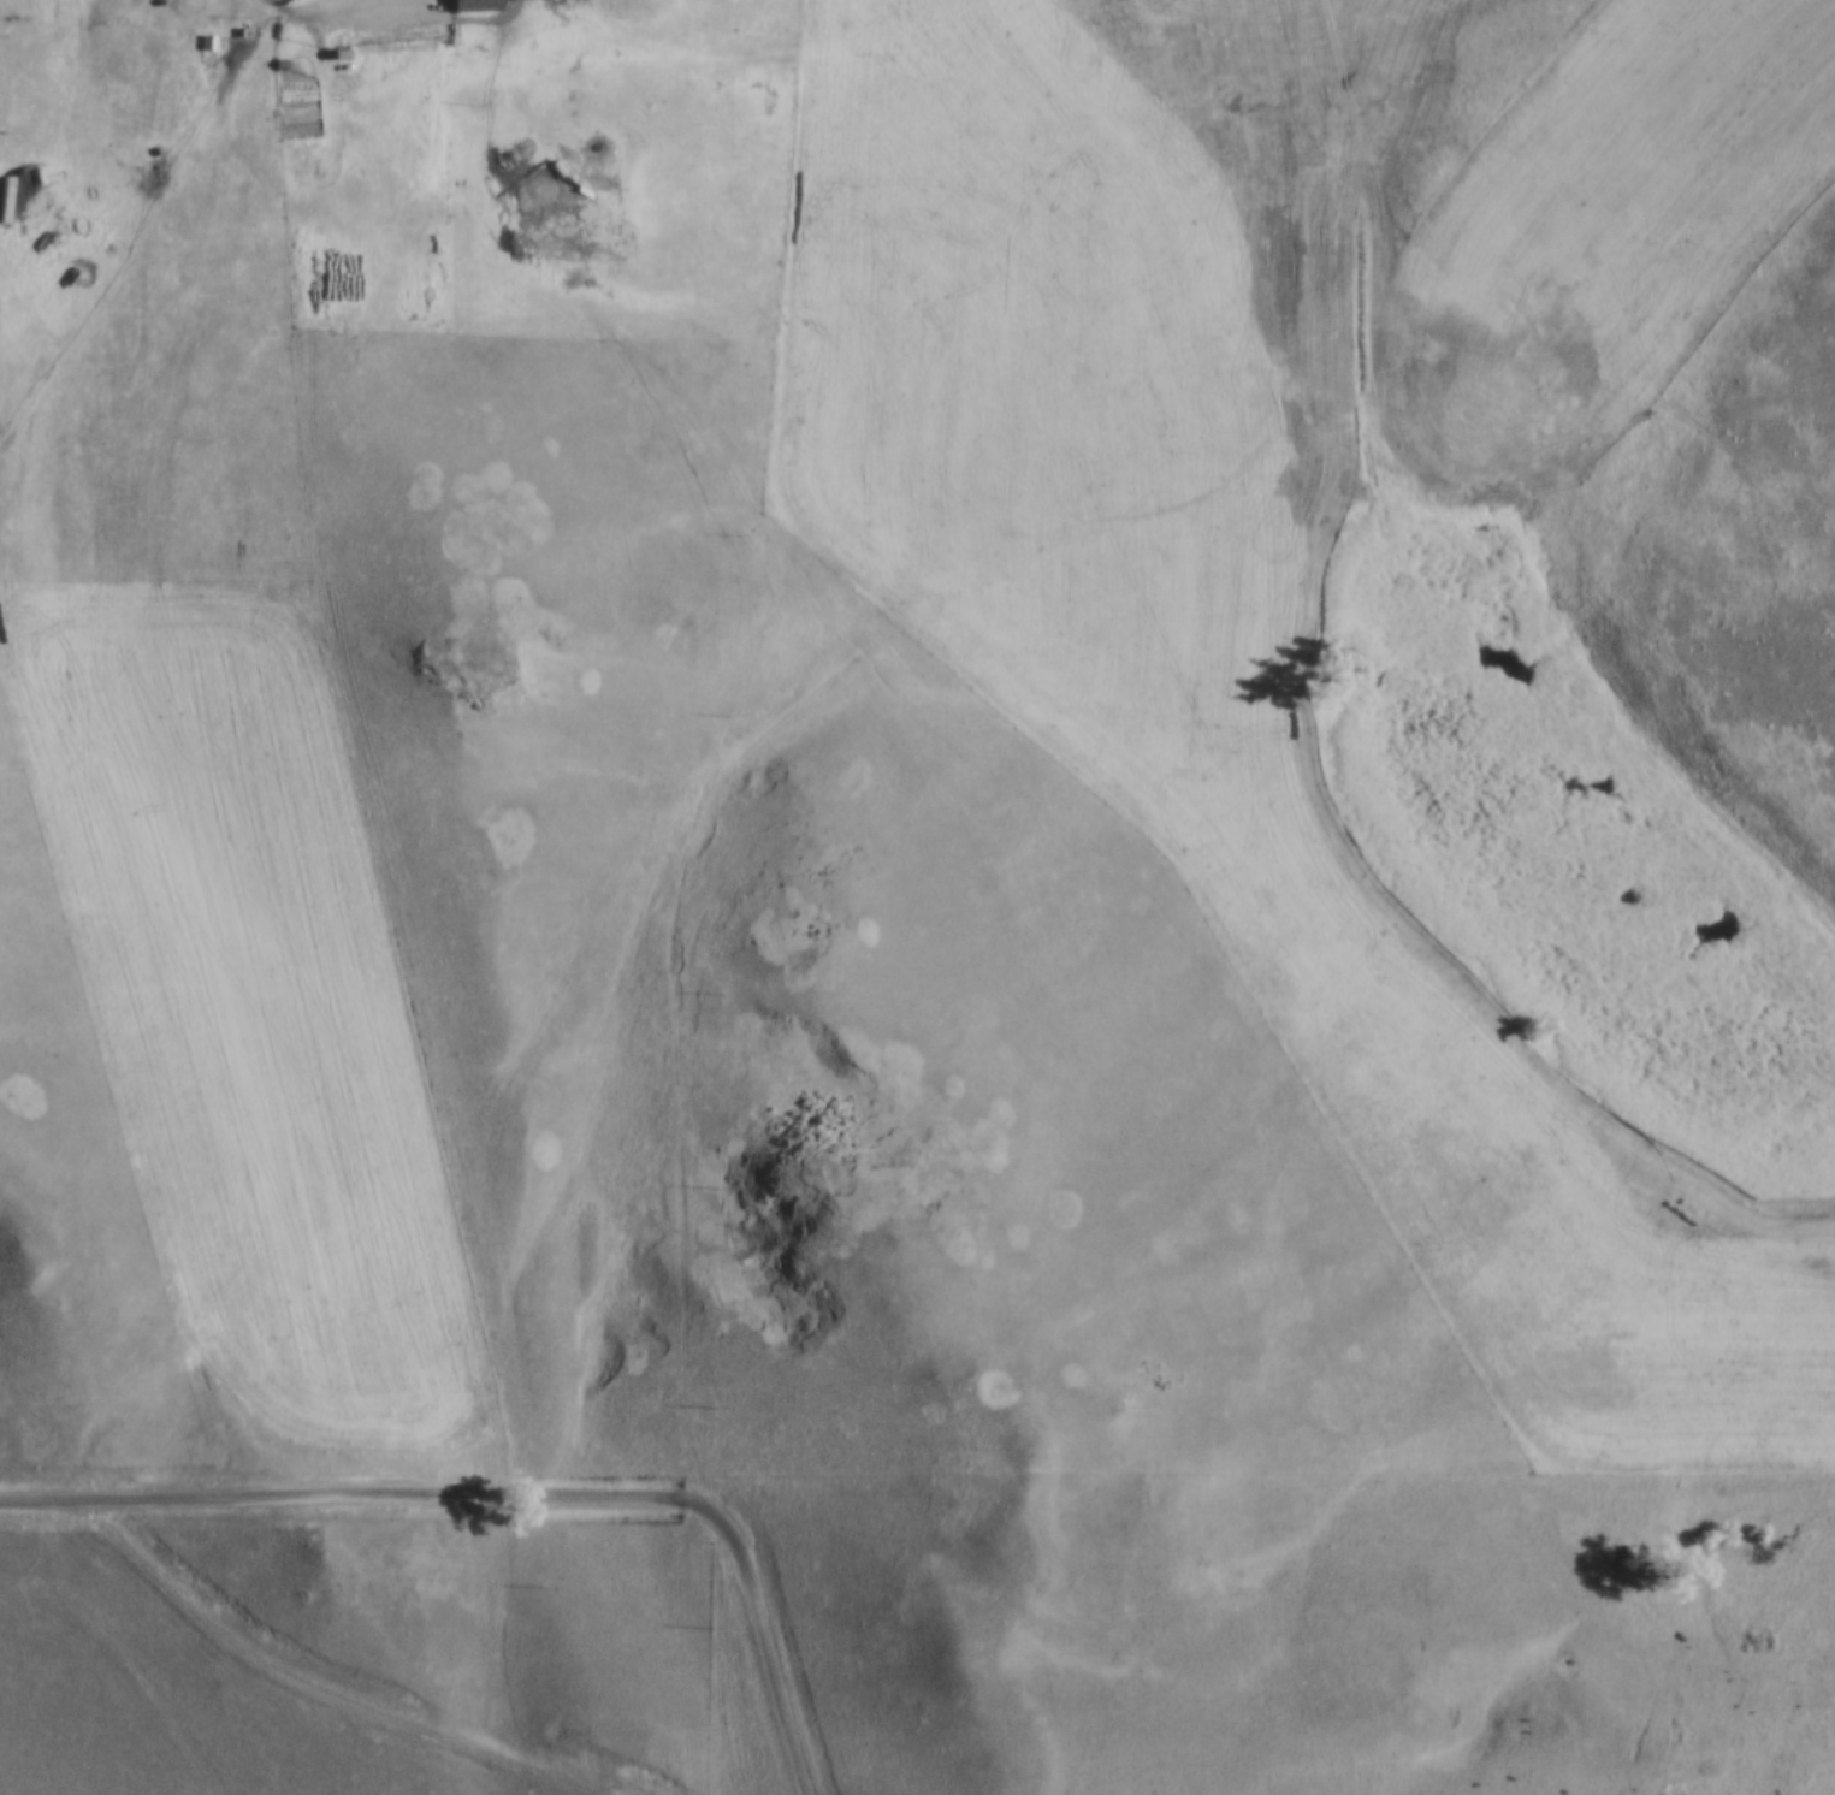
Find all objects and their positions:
building: (472, 5)
road: (1334, 76)
road: (510, 1495)
road: (309, 1683)

